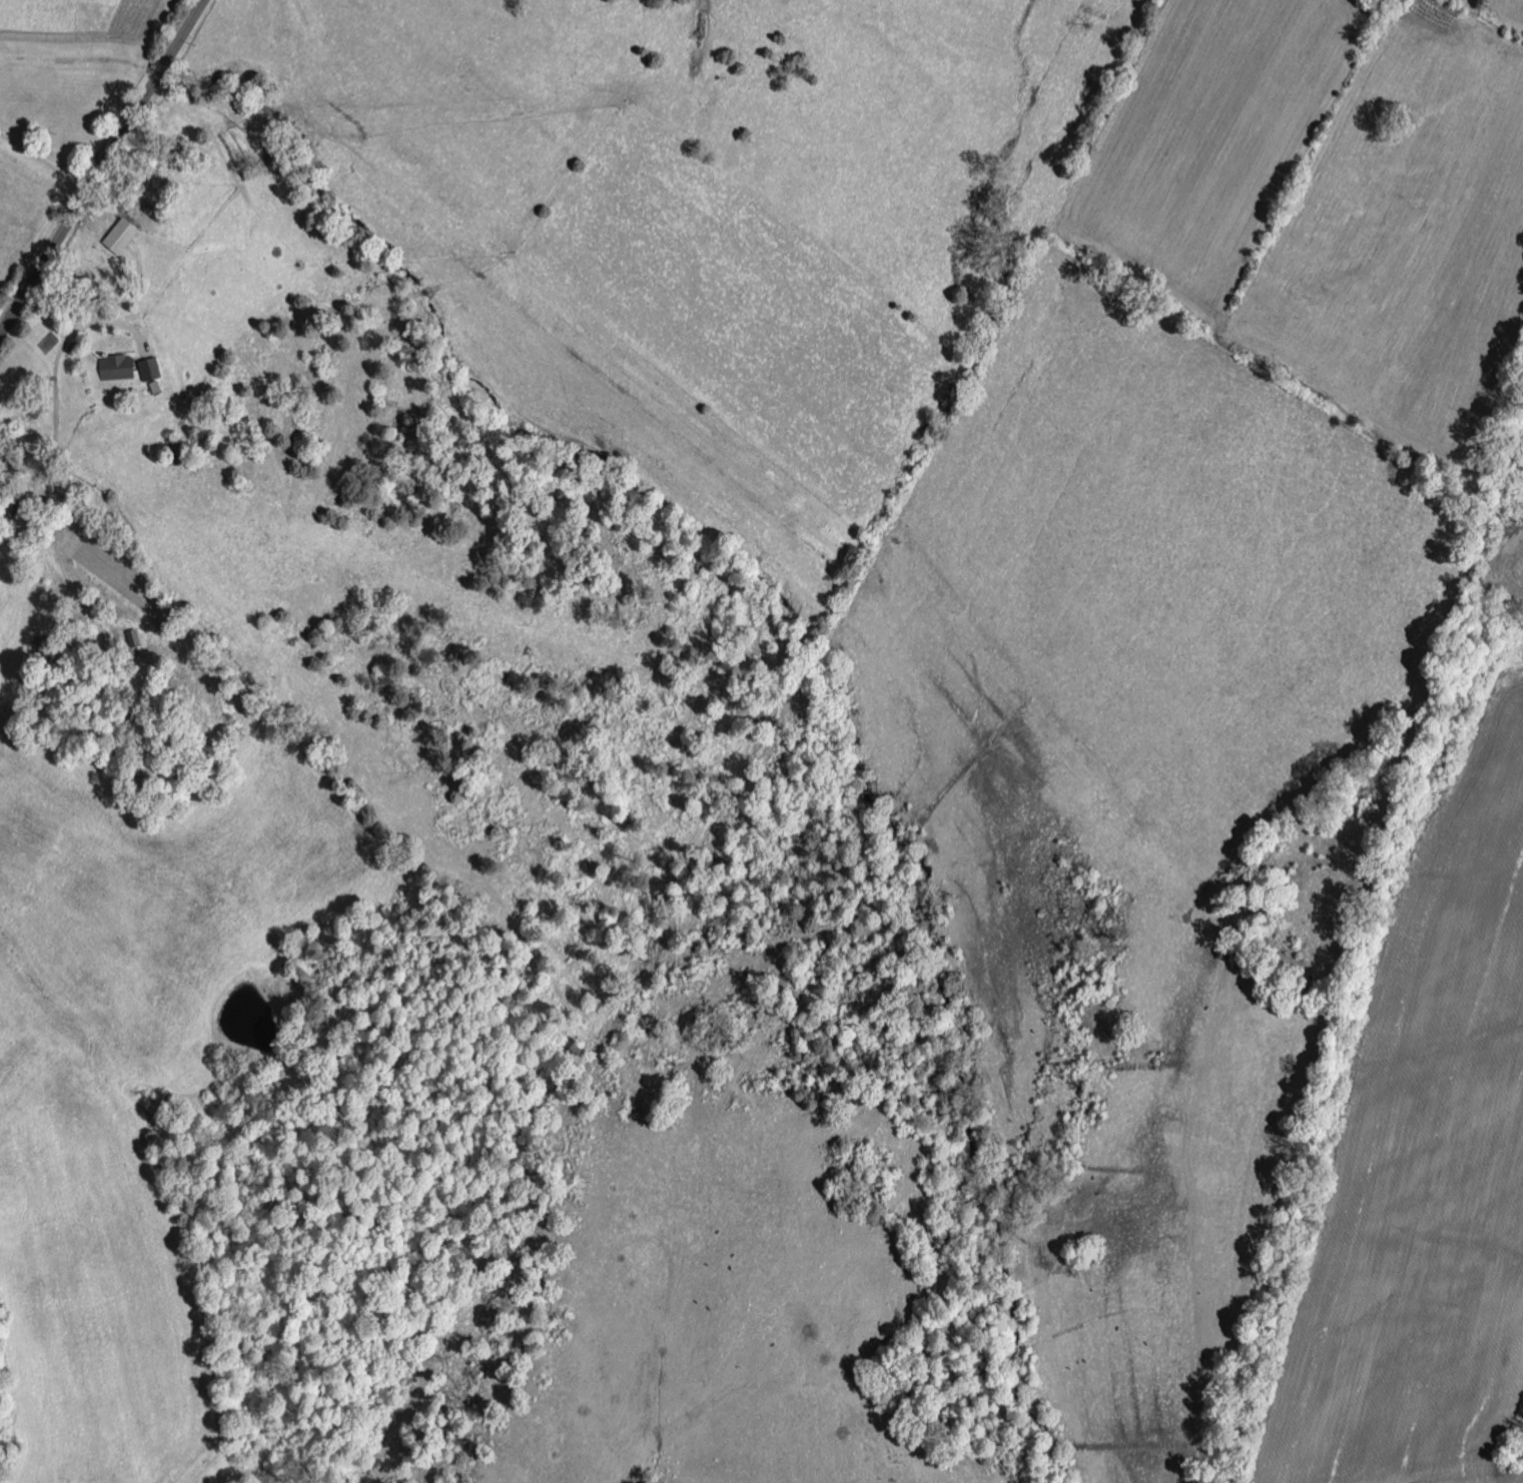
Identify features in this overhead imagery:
road: (46, 161)
road: (104, 169)
building: (123, 236)
road: (90, 318)
building: (119, 367)
building: (152, 369)
park: (91, 500)

